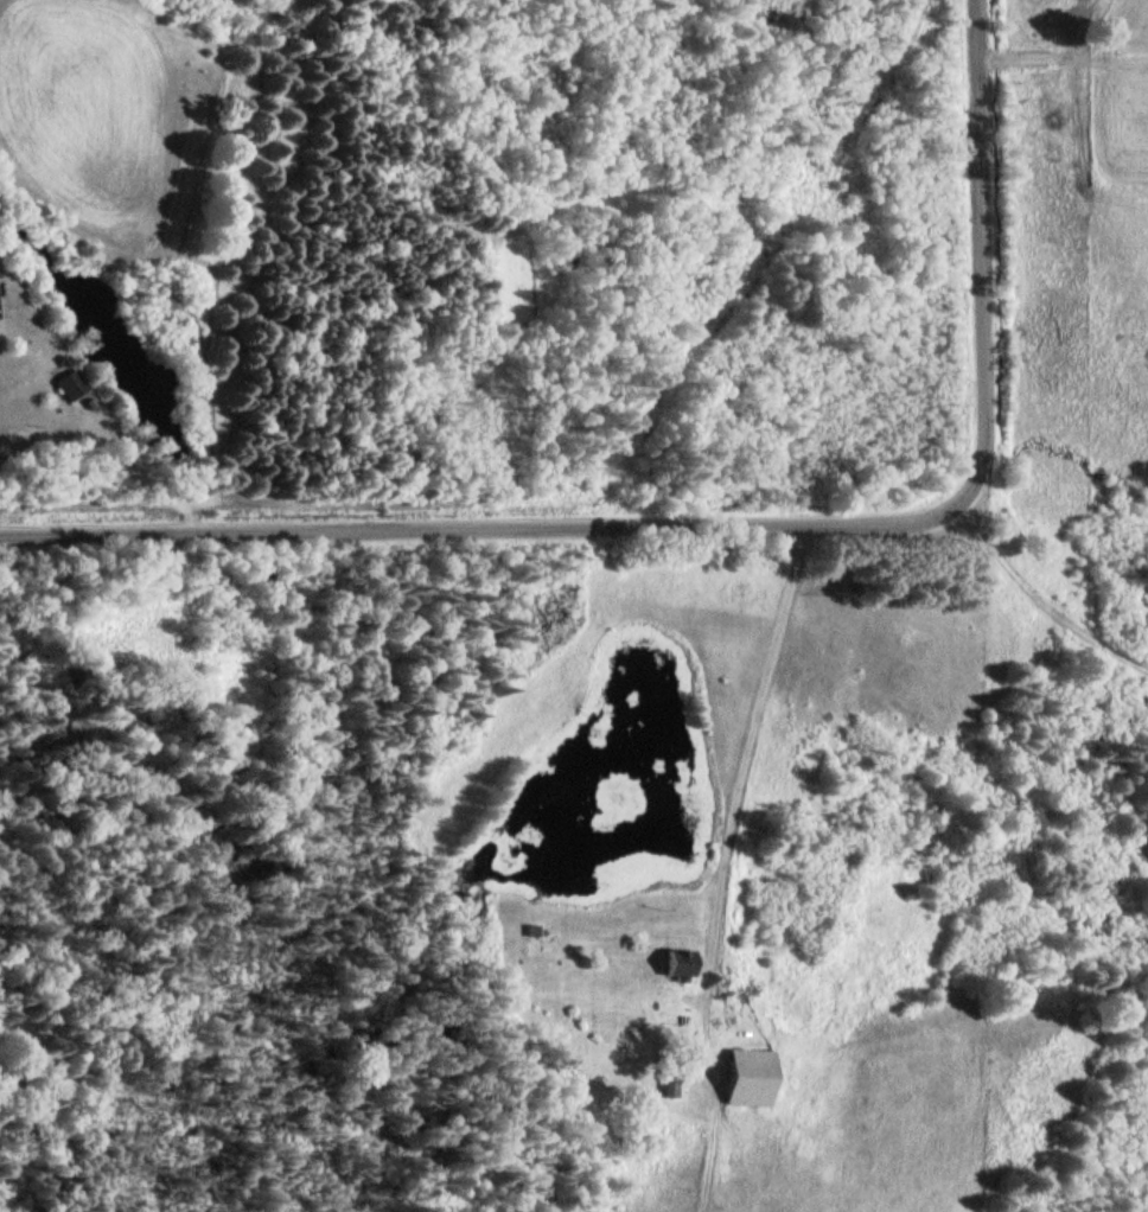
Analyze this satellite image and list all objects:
building: (0, 307)
building: (76, 385)
road: (736, 522)
road: (753, 757)
building: (684, 963)
building: (755, 1076)
building: (677, 1084)

